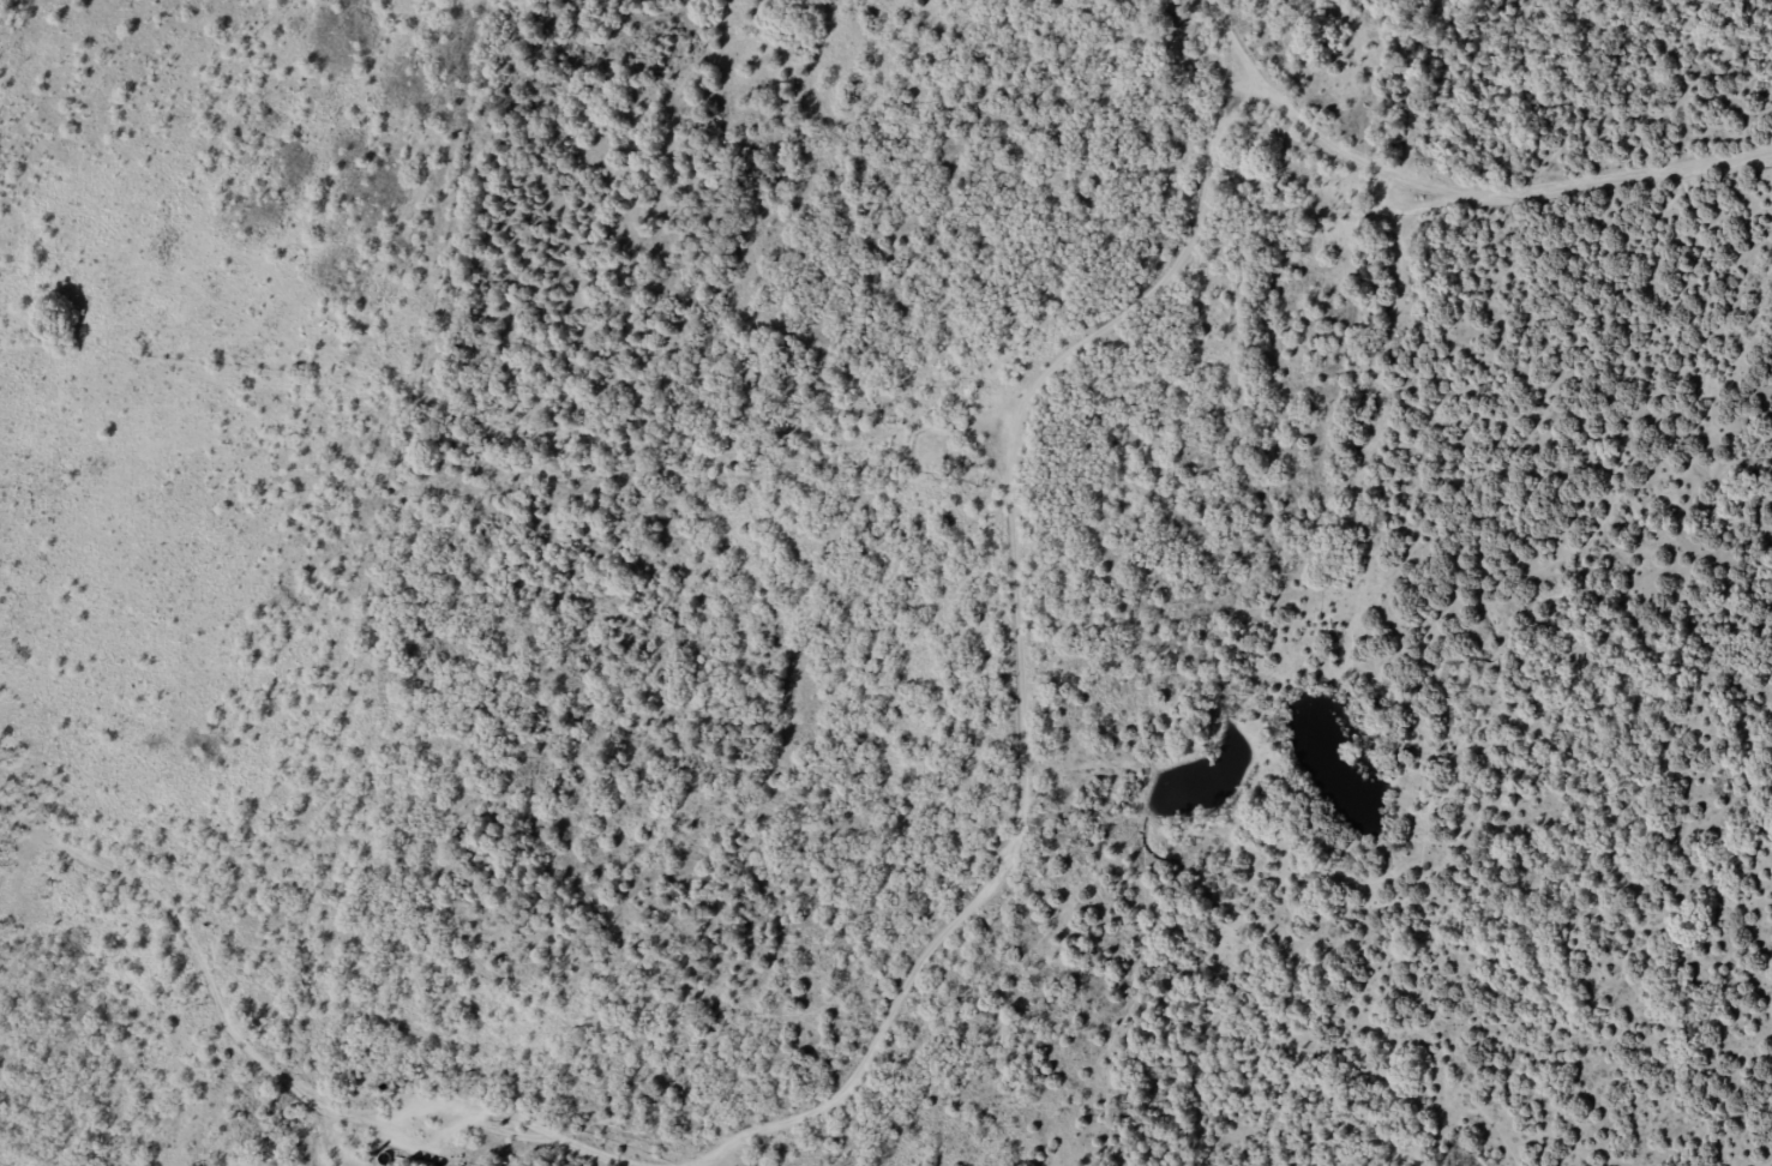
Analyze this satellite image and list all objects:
road: (1460, 187)

